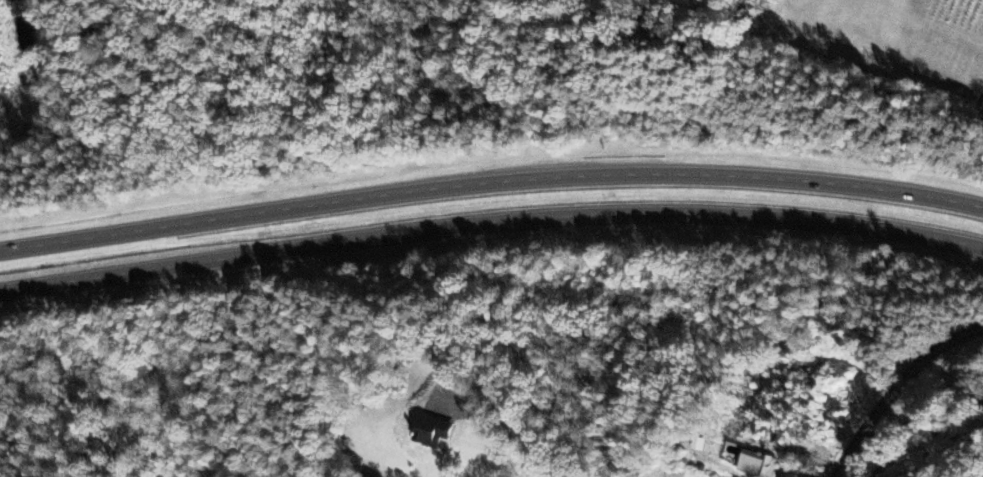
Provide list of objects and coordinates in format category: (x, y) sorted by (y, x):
road: (490, 181)
road: (490, 221)
road: (894, 386)
building: (696, 444)
building: (756, 464)

